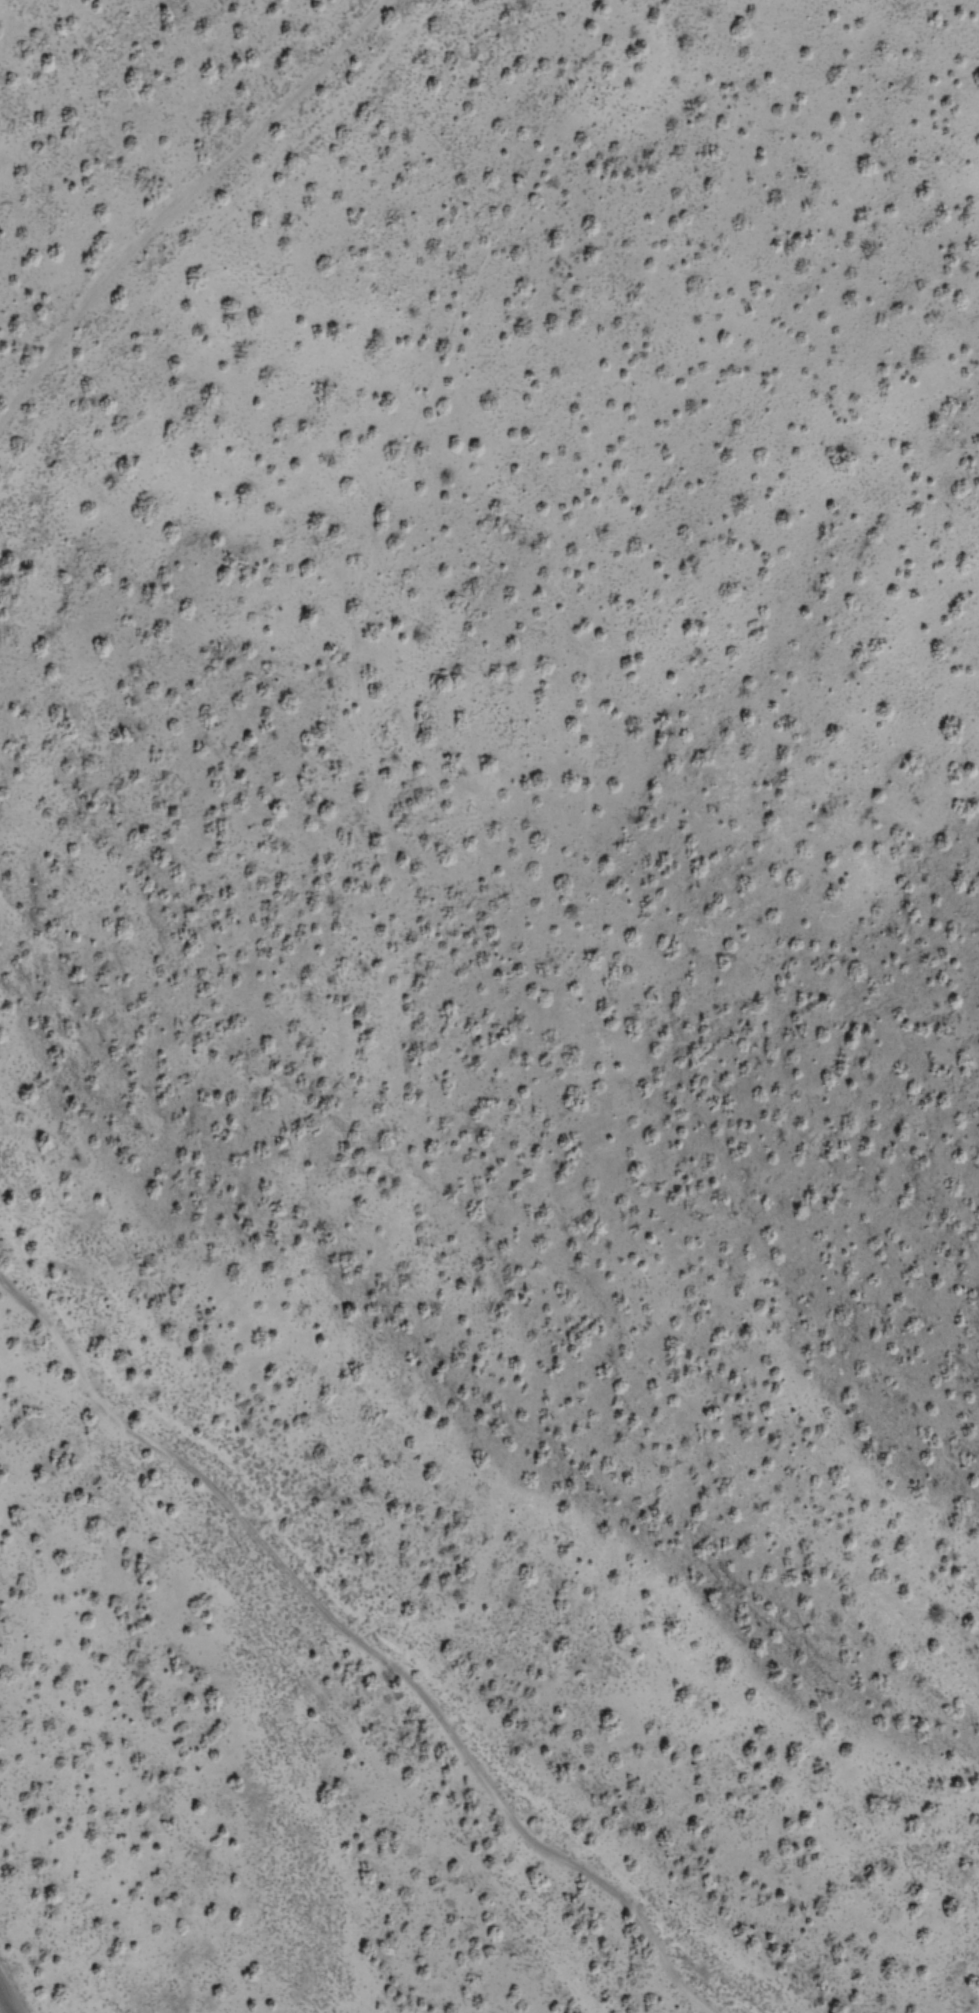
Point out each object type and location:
road: (203, 222)
road: (380, 1651)
road: (2, 2008)

